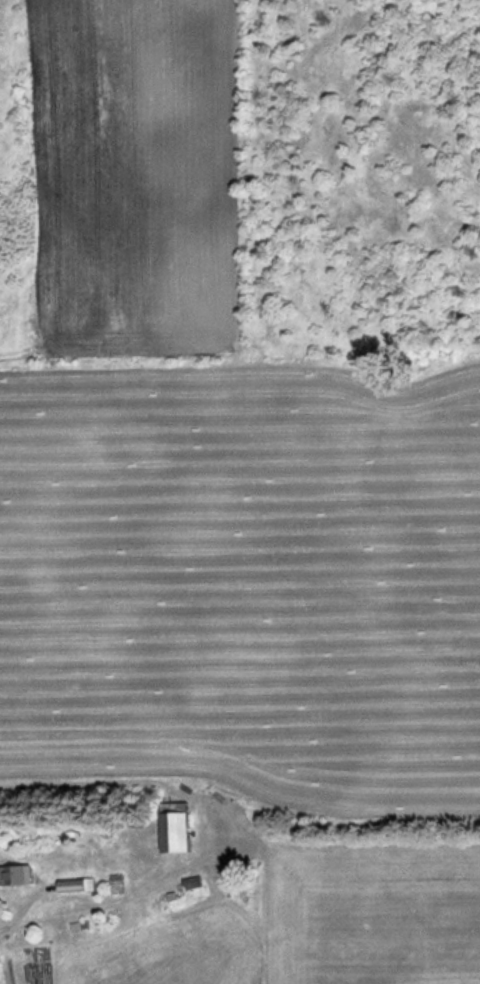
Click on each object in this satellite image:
building: (182, 835)
building: (20, 877)
building: (193, 884)
building: (80, 887)

